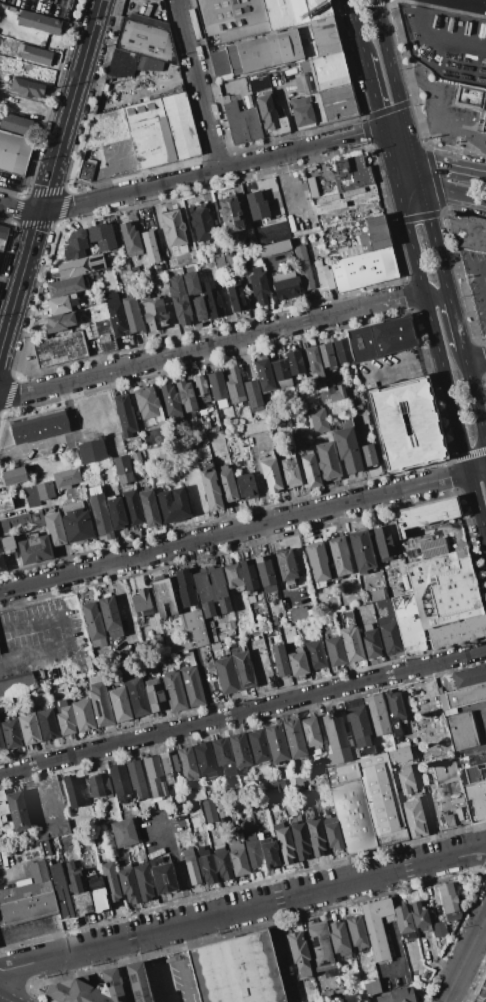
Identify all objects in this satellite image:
road: (477, 2)
road: (468, 3)
building: (67, 9)
building: (294, 11)
building: (231, 19)
building: (39, 23)
road: (356, 26)
building: (325, 36)
road: (438, 40)
building: (145, 41)
building: (263, 52)
road: (386, 52)
building: (36, 54)
building: (219, 63)
road: (79, 71)
building: (329, 71)
building: (305, 78)
building: (259, 81)
road: (200, 85)
building: (26, 87)
building: (469, 96)
building: (337, 102)
road: (435, 109)
building: (306, 110)
building: (270, 115)
road: (379, 116)
traffic signals: (404, 121)
building: (240, 122)
building: (16, 124)
road: (393, 124)
traffic signals: (382, 127)
road: (421, 128)
building: (162, 131)
road: (58, 149)
building: (14, 153)
road: (414, 160)
traffic signals: (414, 160)
road: (449, 167)
building: (86, 170)
road: (404, 170)
road: (212, 172)
building: (351, 173)
traffic signals: (395, 180)
road: (48, 183)
road: (407, 183)
traffic signals: (420, 186)
road: (453, 192)
building: (257, 204)
road: (20, 209)
building: (229, 213)
building: (148, 216)
building: (200, 223)
building: (174, 230)
building: (3, 232)
building: (468, 232)
building: (374, 235)
building: (101, 236)
road: (33, 237)
building: (130, 238)
building: (75, 245)
building: (150, 246)
building: (274, 248)
building: (348, 252)
road: (438, 257)
road: (13, 258)
building: (224, 261)
building: (83, 265)
road: (463, 265)
building: (304, 267)
building: (363, 269)
building: (134, 271)
building: (192, 271)
road: (23, 272)
building: (323, 276)
building: (190, 282)
building: (285, 283)
parking lot: (476, 283)
road: (483, 283)
building: (259, 285)
building: (66, 286)
building: (235, 296)
road: (437, 297)
building: (212, 300)
building: (68, 303)
building: (180, 303)
building: (198, 308)
building: (153, 312)
building: (132, 314)
road: (10, 315)
building: (117, 315)
building: (60, 322)
road: (456, 326)
building: (89, 330)
building: (105, 335)
building: (380, 339)
road: (212, 345)
building: (60, 349)
building: (342, 351)
building: (325, 356)
road: (474, 356)
road: (440, 358)
building: (311, 361)
building: (295, 366)
road: (400, 369)
building: (281, 373)
building: (264, 375)
building: (234, 386)
building: (201, 389)
building: (217, 389)
building: (336, 393)
building: (253, 395)
building: (186, 396)
building: (322, 397)
road: (474, 398)
building: (170, 403)
building: (147, 406)
building: (358, 407)
building: (125, 415)
building: (291, 420)
building: (230, 421)
building: (318, 421)
building: (406, 424)
building: (40, 426)
building: (209, 427)
building: (256, 427)
road: (61, 436)
building: (347, 449)
building: (92, 451)
building: (368, 454)
building: (136, 456)
building: (327, 460)
road: (477, 469)
building: (122, 470)
building: (310, 470)
building: (290, 472)
building: (271, 474)
building: (13, 476)
building: (65, 479)
building: (227, 483)
building: (245, 486)
building: (44, 490)
building: (79, 490)
building: (210, 491)
building: (30, 495)
building: (5, 501)
building: (173, 504)
building: (132, 507)
building: (149, 508)
building: (116, 512)
building: (99, 513)
building: (425, 514)
building: (36, 519)
building: (76, 522)
building: (13, 523)
building: (54, 528)
road: (234, 531)
building: (383, 543)
building: (8, 544)
building: (1, 547)
building: (431, 547)
building: (34, 549)
building: (361, 551)
building: (338, 557)
building: (2, 561)
building: (317, 563)
building: (286, 567)
building: (431, 568)
building: (264, 570)
building: (232, 575)
building: (248, 577)
building: (185, 587)
building: (210, 587)
building: (398, 587)
building: (454, 590)
building: (376, 595)
building: (163, 596)
road: (124, 602)
building: (141, 602)
road: (18, 604)
building: (109, 613)
building: (298, 613)
building: (274, 620)
building: (414, 620)
building: (93, 623)
building: (387, 628)
building: (193, 629)
building: (457, 631)
road: (67, 635)
building: (256, 635)
building: (350, 637)
building: (371, 641)
building: (153, 642)
building: (175, 645)
building: (215, 646)
building: (225, 650)
building: (334, 650)
building: (315, 655)
building: (161, 660)
building: (279, 661)
building: (87, 663)
building: (297, 663)
building: (242, 667)
building: (226, 675)
building: (469, 676)
building: (16, 684)
building: (191, 686)
building: (173, 690)
building: (136, 693)
building: (154, 695)
building: (463, 696)
building: (99, 700)
building: (119, 703)
road: (473, 705)
building: (395, 711)
road: (243, 712)
building: (450, 712)
building: (376, 714)
building: (83, 715)
building: (65, 718)
building: (47, 724)
building: (29, 729)
building: (359, 730)
building: (461, 731)
building: (310, 732)
building: (11, 734)
building: (293, 738)
building: (335, 738)
building: (1, 744)
building: (276, 744)
building: (402, 744)
building: (258, 746)
building: (239, 750)
building: (399, 754)
building: (223, 756)
building: (476, 758)
building: (204, 759)
building: (187, 763)
building: (169, 767)
building: (446, 773)
building: (475, 773)
building: (154, 777)
building: (137, 779)
building: (405, 779)
building: (119, 780)
building: (288, 780)
building: (428, 782)
building: (300, 783)
building: (322, 783)
building: (97, 785)
building: (275, 791)
building: (457, 791)
building: (72, 792)
building: (476, 798)
building: (365, 803)
building: (3, 807)
building: (210, 810)
building: (17, 812)
building: (222, 817)
building: (413, 817)
building: (449, 820)
building: (52, 830)
building: (314, 832)
building: (331, 832)
building: (124, 834)
building: (299, 837)
building: (284, 843)
building: (252, 847)
building: (267, 847)
building: (237, 857)
building: (221, 860)
building: (206, 864)
building: (191, 866)
road: (177, 867)
building: (38, 871)
building: (162, 876)
road: (12, 877)
building: (110, 881)
building: (144, 881)
building: (128, 884)
building: (78, 889)
building: (28, 890)
building: (97, 894)
building: (448, 901)
building: (27, 907)
road: (242, 909)
building: (419, 915)
building: (404, 924)
building: (377, 927)
building: (439, 929)
road: (30, 932)
building: (357, 933)
road: (392, 935)
building: (340, 938)
building: (320, 947)
building: (300, 953)
road: (464, 956)
road: (1, 967)
road: (160, 967)
building: (237, 970)
road: (473, 972)
building: (137, 981)
building: (370, 987)
building: (86, 988)
building: (396, 995)
road: (4, 999)

